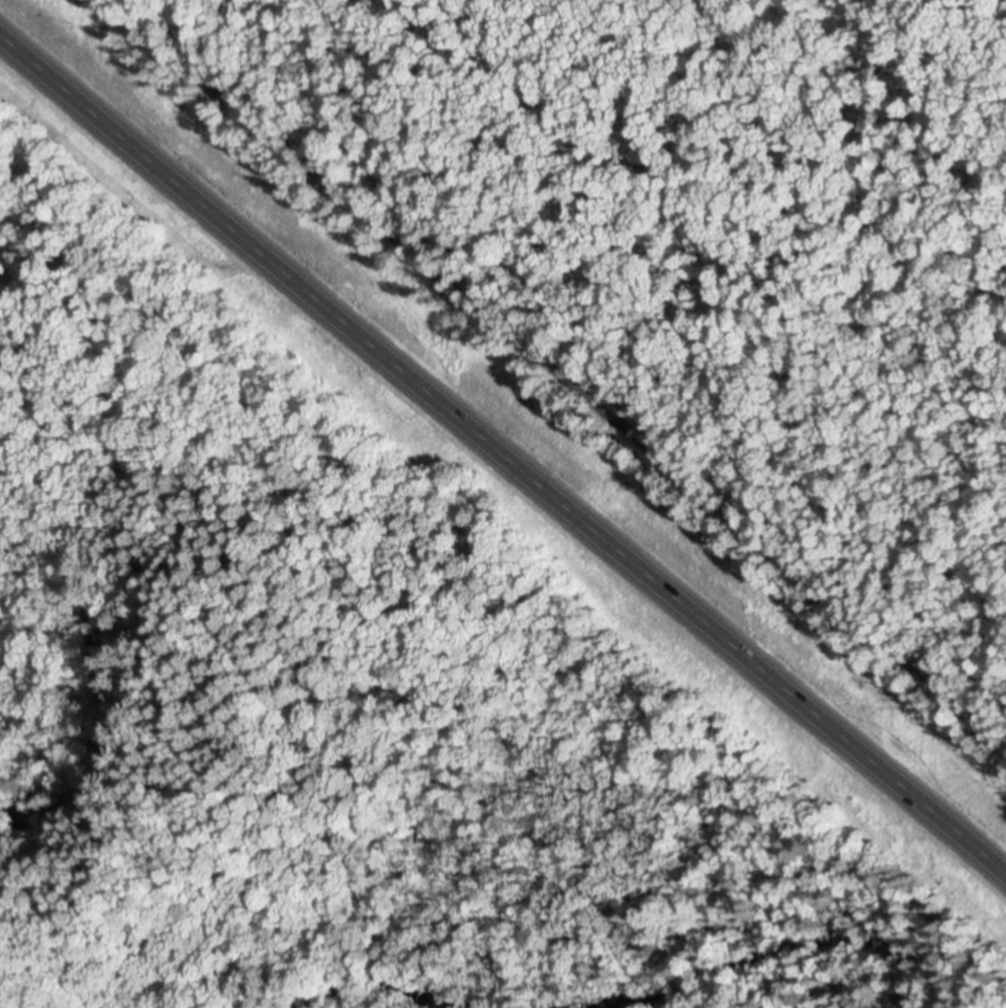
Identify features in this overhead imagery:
road: (555, 370)
road: (503, 459)
river: (123, 692)
river: (763, 948)
river: (376, 992)

